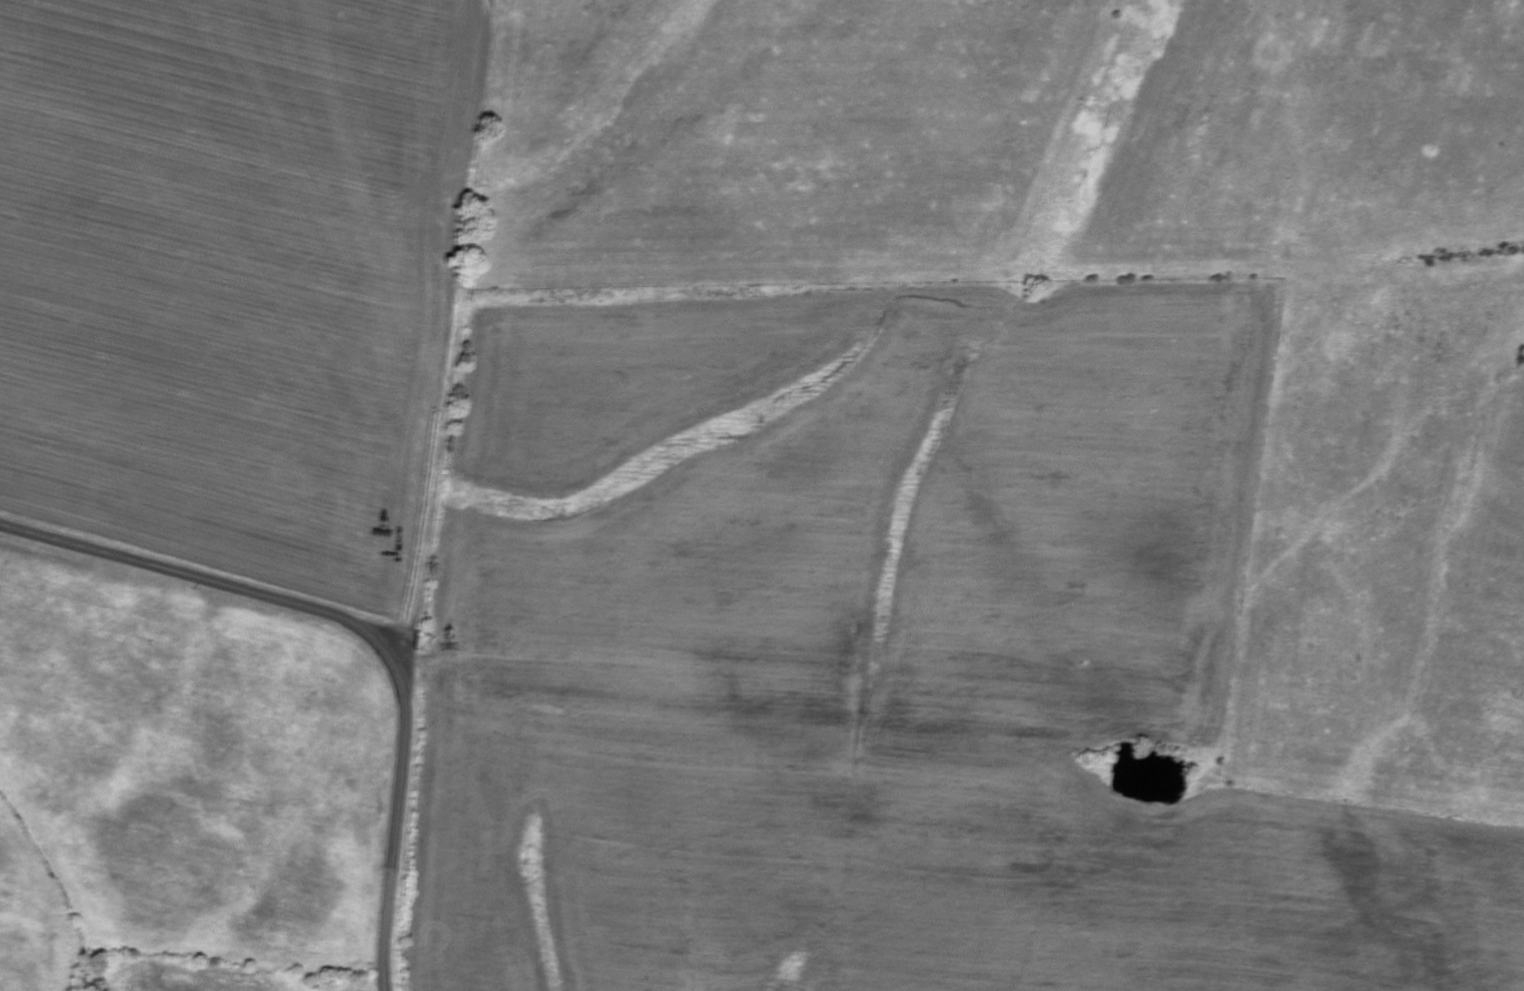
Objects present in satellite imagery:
road: (1518, 267)
road: (805, 306)
road: (360, 630)

